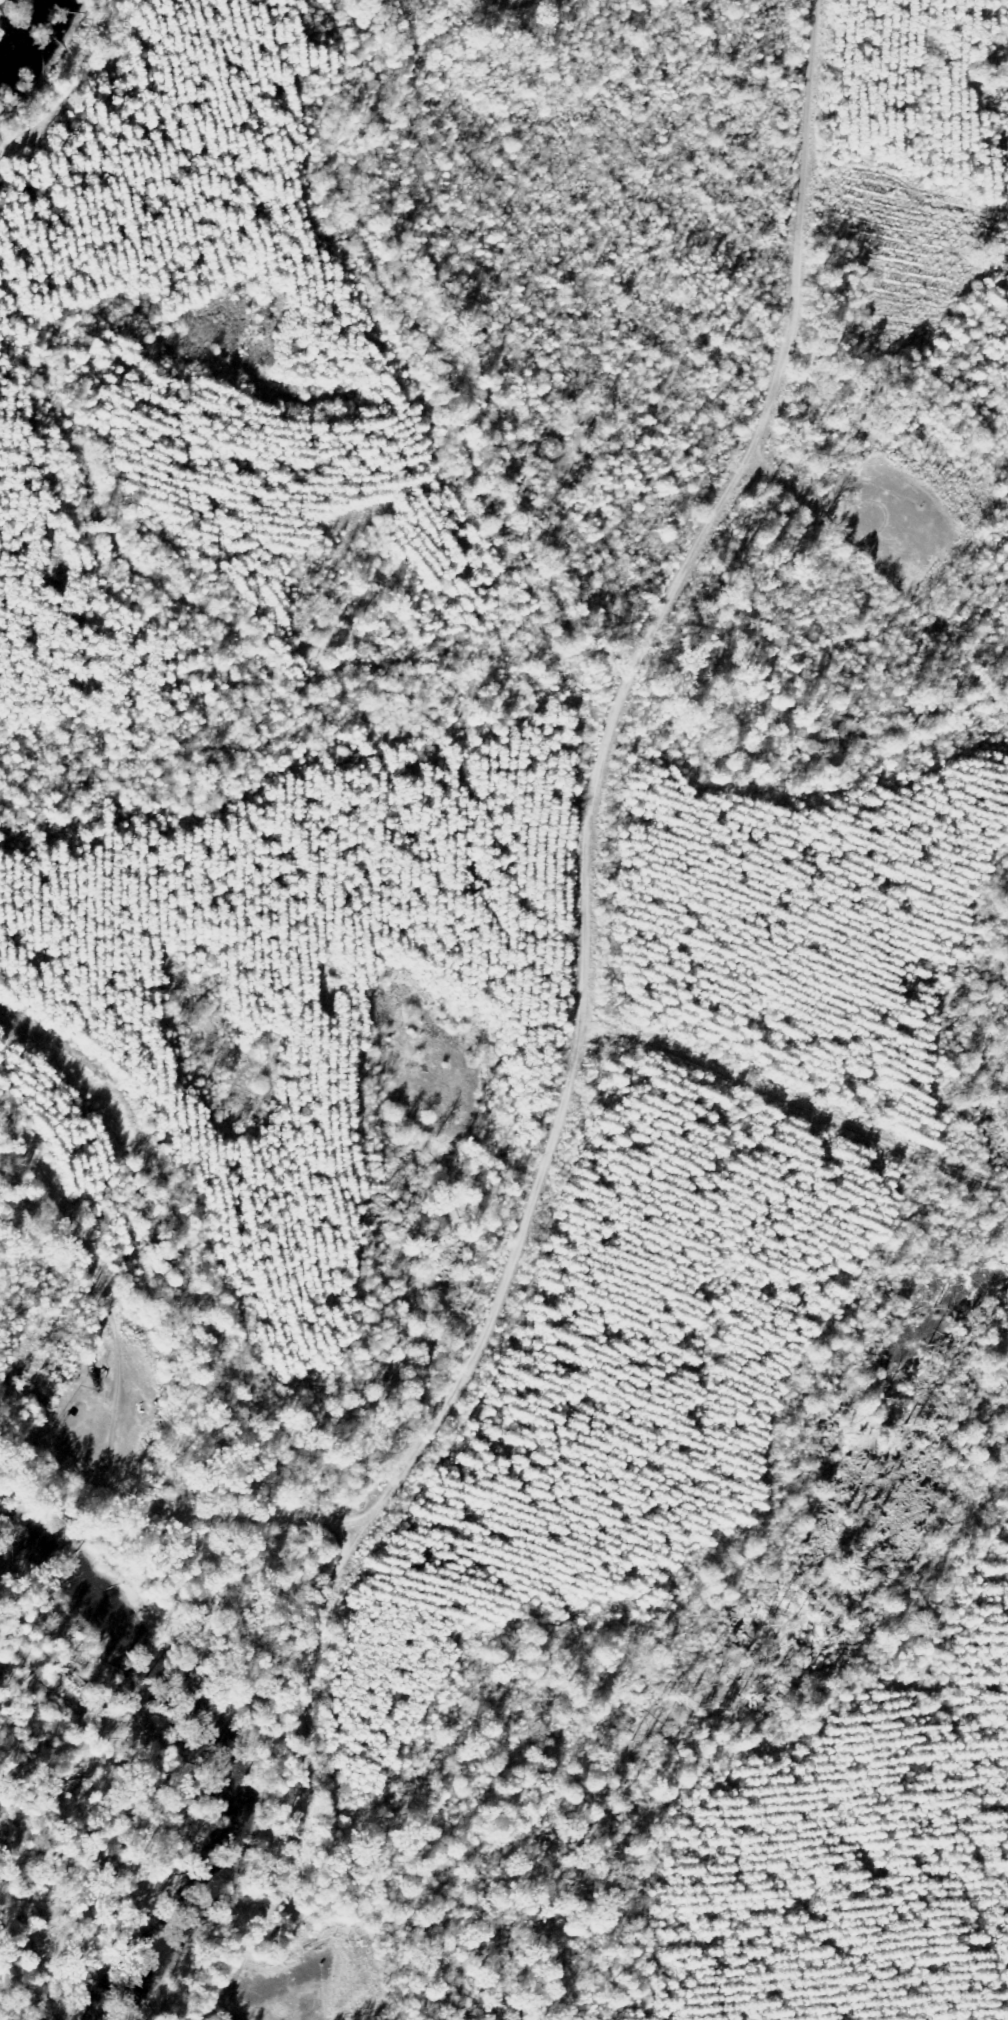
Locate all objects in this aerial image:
road: (599, 1042)

